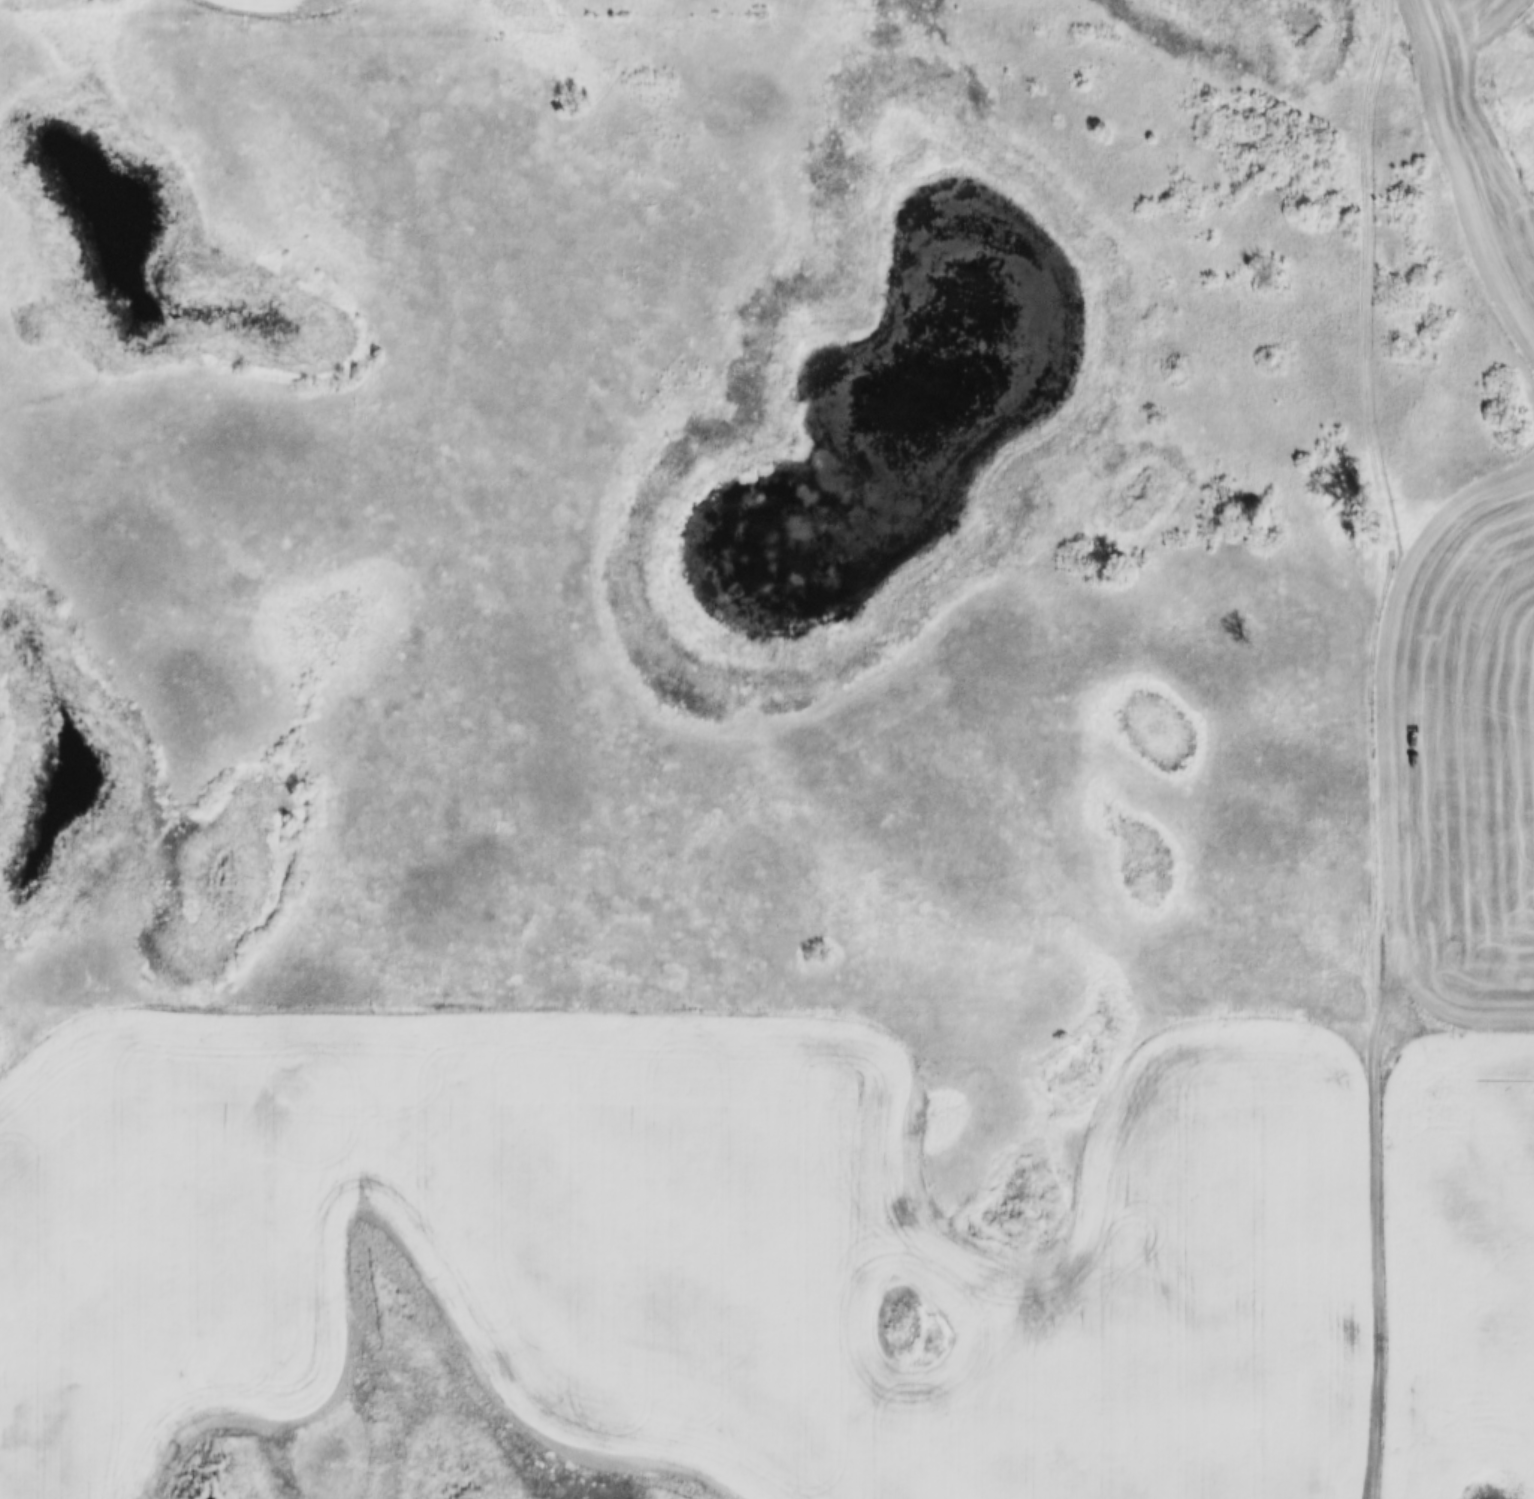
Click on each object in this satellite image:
road: (1375, 1147)

